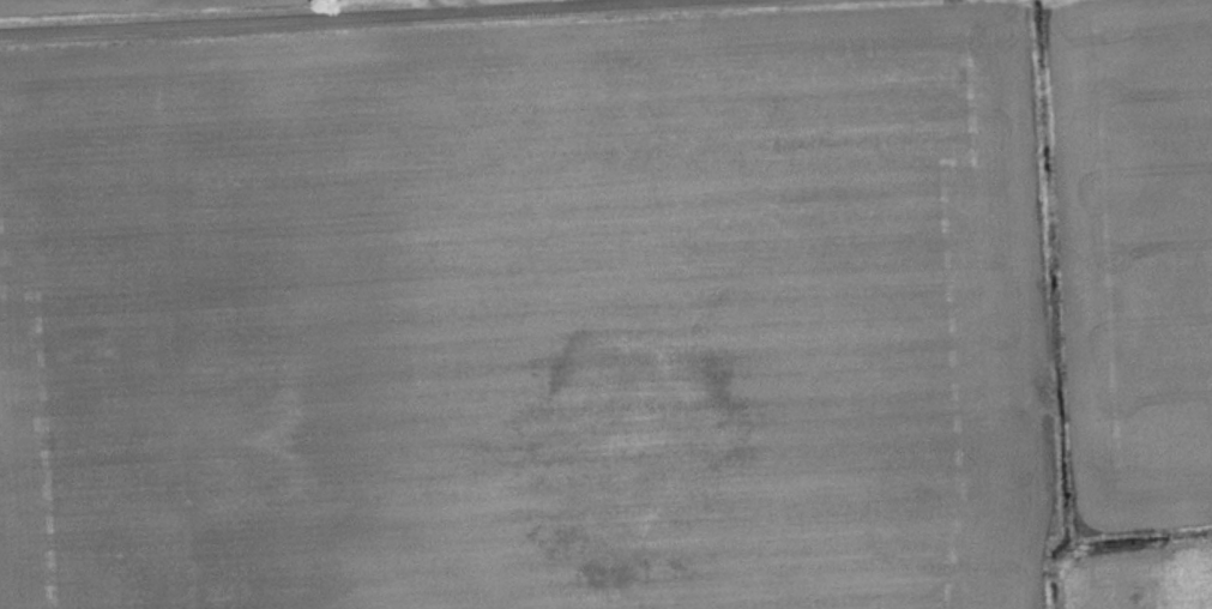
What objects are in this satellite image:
road: (284, 13)

